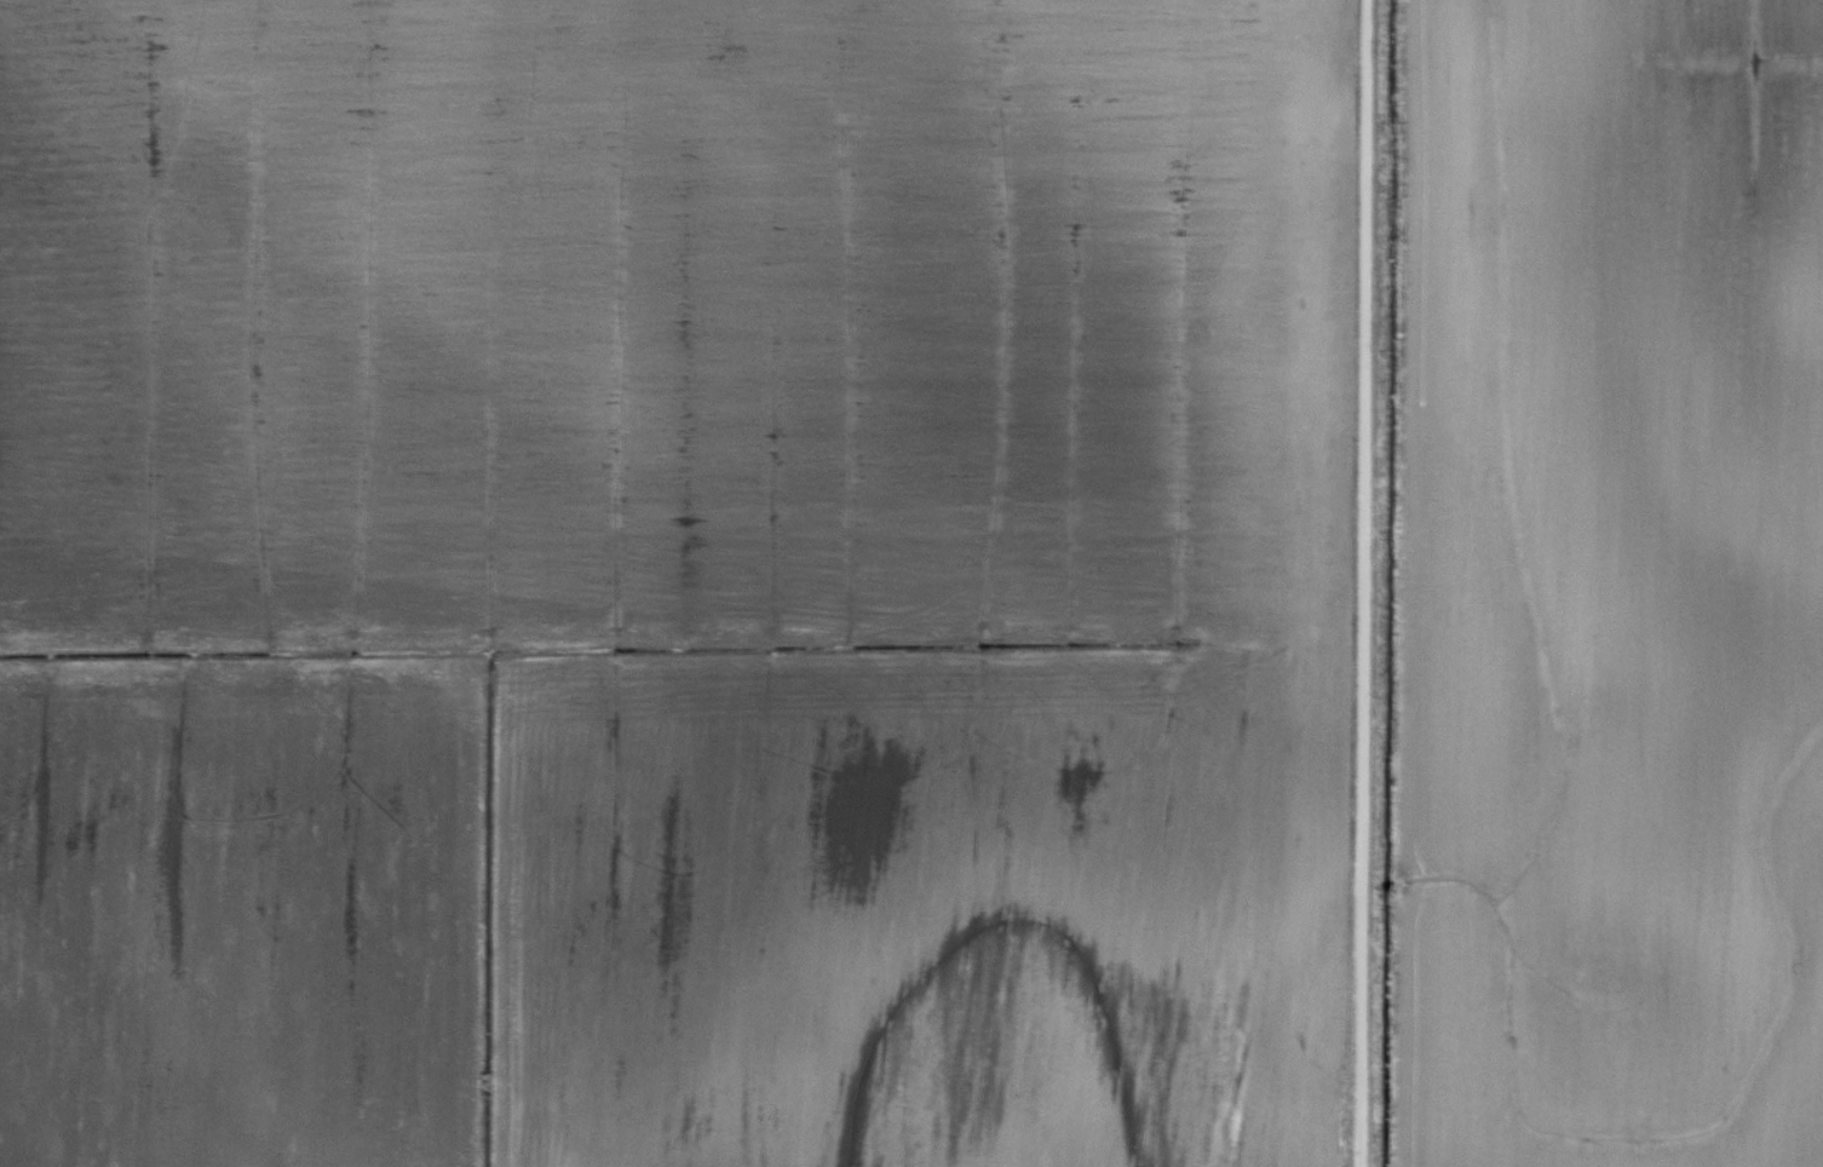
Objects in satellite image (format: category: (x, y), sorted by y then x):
road: (1306, 583)

